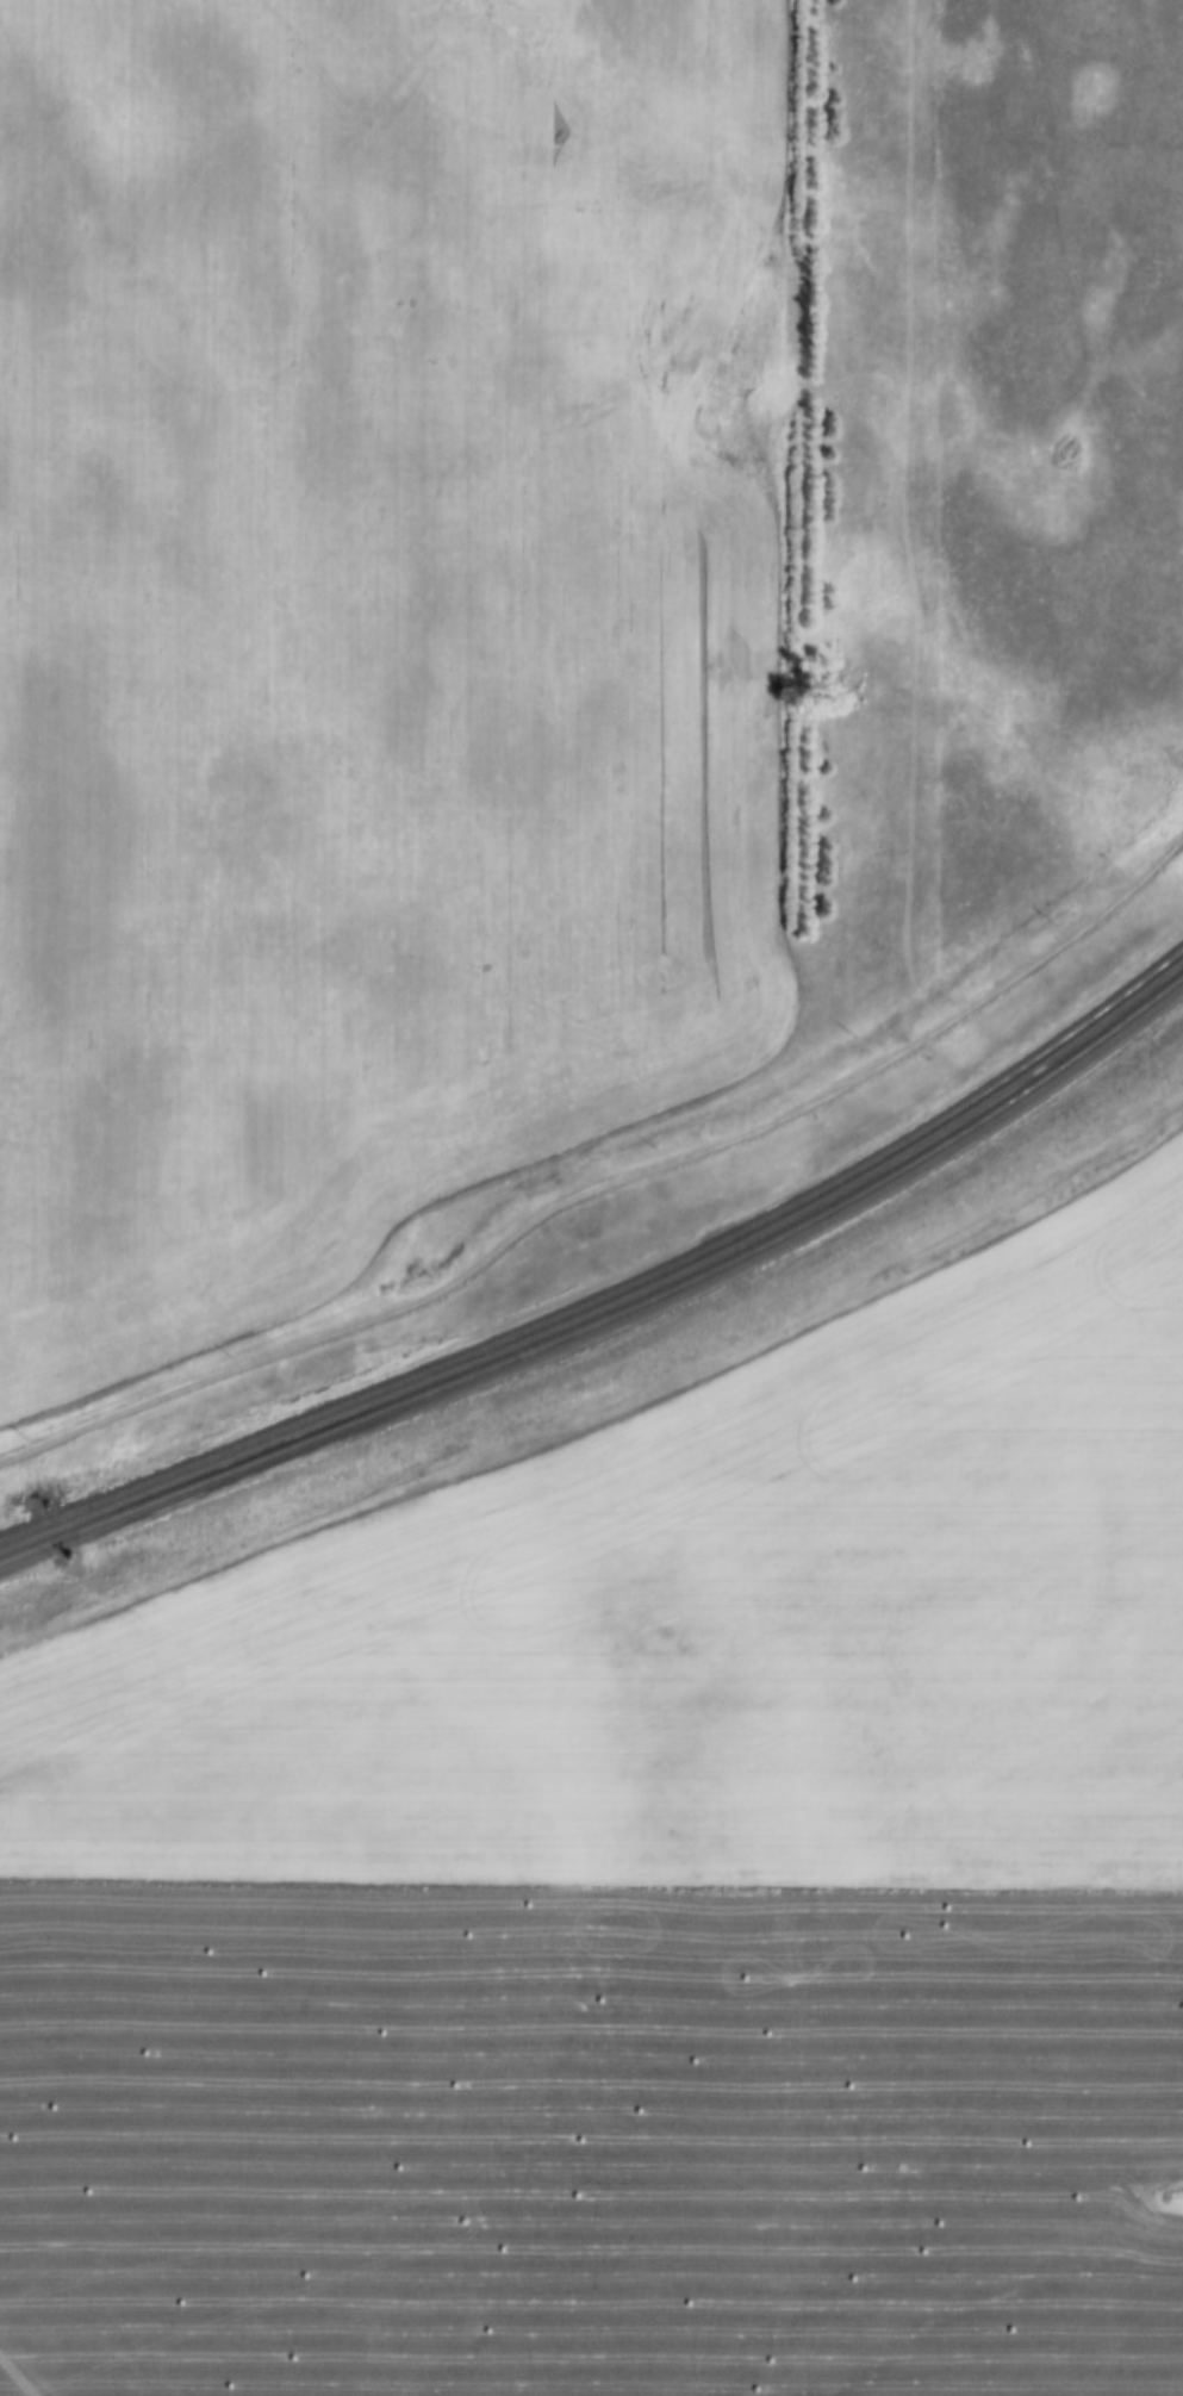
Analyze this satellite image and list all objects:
railway: (662, 1270)
railway: (616, 1317)
railway: (48, 1526)

